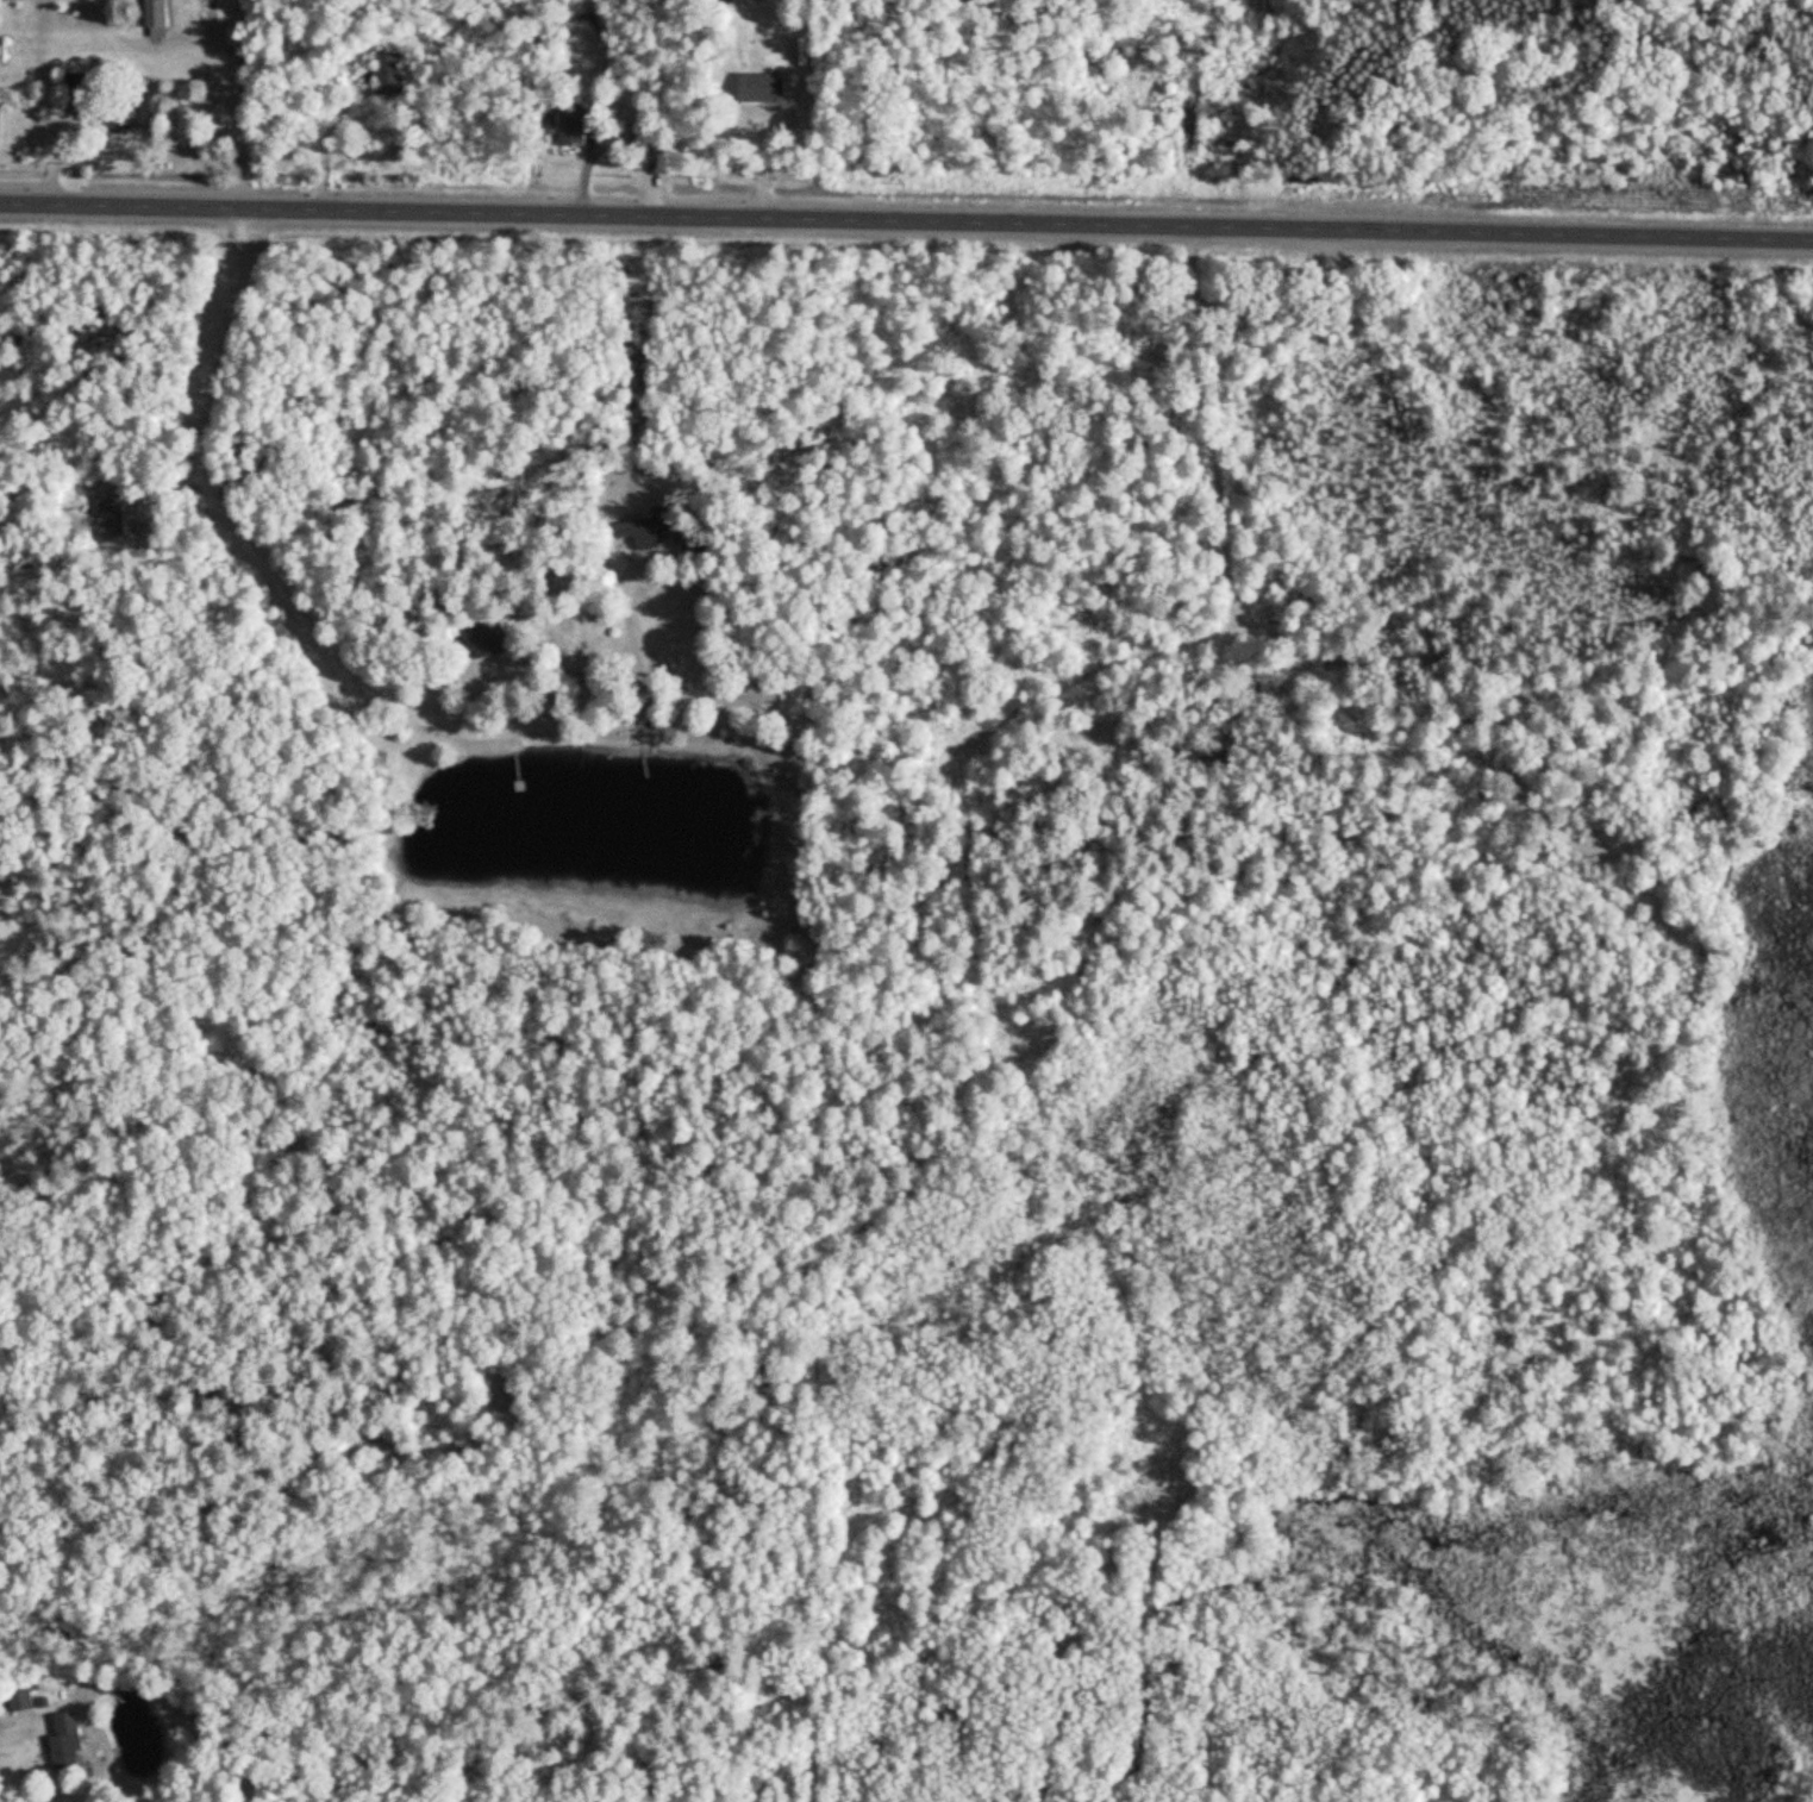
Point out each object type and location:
building: (737, 1)
building: (158, 19)
building: (393, 74)
building: (75, 83)
building: (764, 87)
building: (93, 115)
building: (575, 125)
road: (906, 225)
building: (654, 528)
building: (707, 550)
building: (493, 640)
road: (1175, 653)
road: (436, 721)
building: (21, 1702)
building: (70, 1742)

